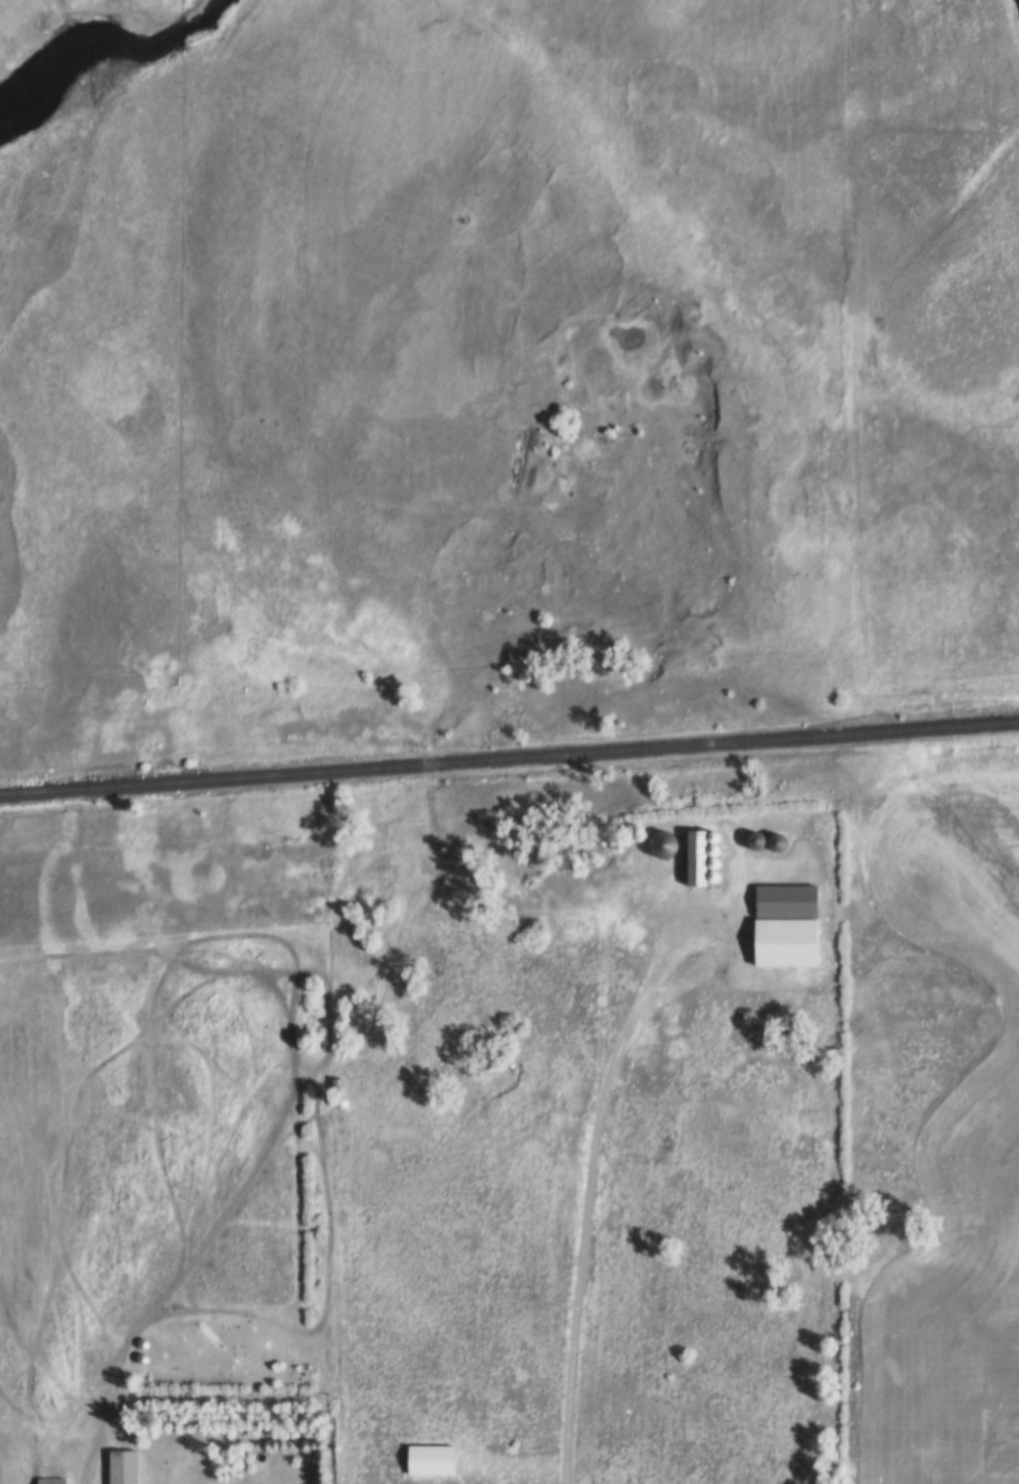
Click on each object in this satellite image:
railway: (509, 754)
building: (717, 831)
silo: (717, 831)
building: (743, 831)
silo: (743, 831)
building: (760, 836)
silo: (760, 836)
building: (780, 837)
silo: (780, 837)
building: (667, 840)
silo: (667, 840)
building: (716, 844)
silo: (716, 844)
building: (700, 853)
building: (716, 857)
silo: (716, 857)
building: (716, 871)
silo: (716, 871)
building: (790, 895)
building: (790, 937)
building: (343, 1080)
building: (346, 1097)
silo: (346, 1097)
building: (345, 1112)
silo: (345, 1112)
building: (345, 1126)
silo: (345, 1126)
road: (591, 1170)
building: (149, 1339)
silo: (149, 1339)
building: (149, 1354)
silo: (149, 1354)
building: (149, 1370)
silo: (149, 1370)
building: (165, 1450)
building: (436, 1455)
building: (130, 1465)
building: (57, 1479)

